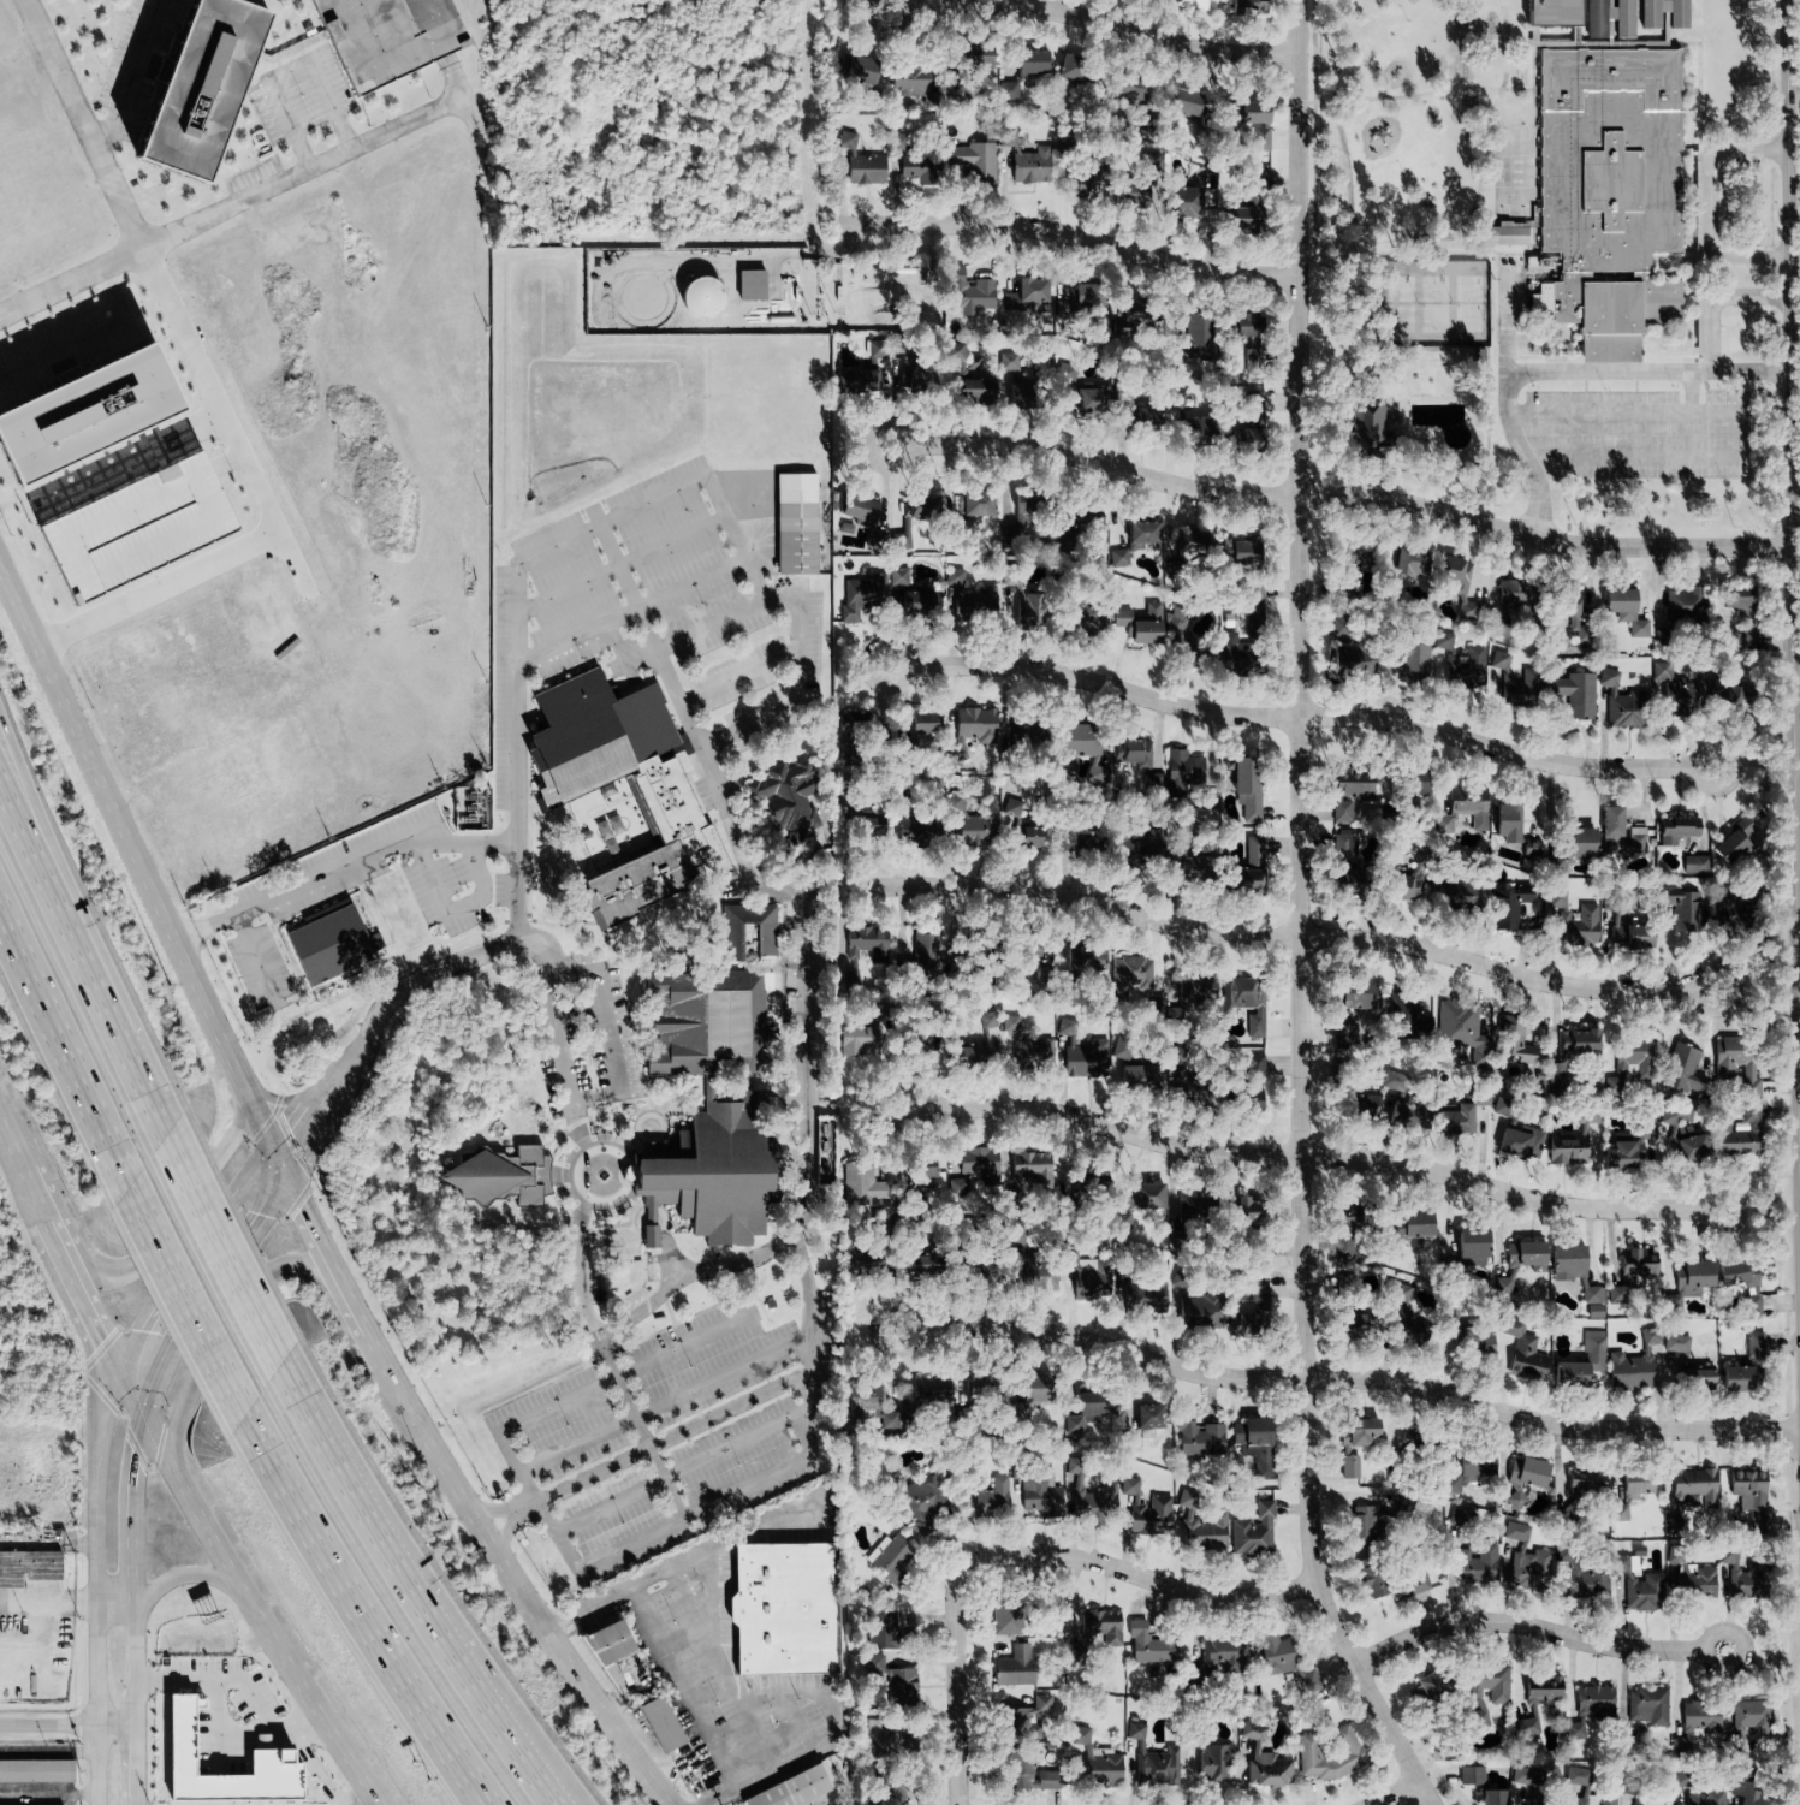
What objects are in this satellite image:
building: (1606, 2)
building: (1186, 5)
building: (1246, 7)
building: (1608, 18)
road: (1093, 20)
building: (1676, 20)
building: (390, 36)
parking garage: (390, 36)
building: (856, 70)
building: (1070, 70)
building: (1016, 71)
road: (290, 75)
road: (127, 78)
building: (909, 84)
building: (203, 85)
road: (1794, 88)
building: (1128, 89)
parking lot: (302, 91)
building: (1180, 102)
building: (1248, 113)
building: (970, 162)
road: (325, 164)
building: (860, 165)
building: (1149, 165)
building: (1029, 167)
building: (919, 168)
building: (1610, 188)
road: (117, 195)
building: (1182, 202)
road: (1713, 206)
building: (1244, 209)
road: (1795, 219)
road: (1070, 233)
building: (1507, 234)
road: (819, 253)
building: (749, 285)
building: (1023, 295)
building: (1077, 296)
building: (969, 297)
road: (1753, 298)
building: (696, 299)
park: (1397, 308)
park: (1431, 308)
park: (1465, 308)
building: (859, 309)
road: (1716, 310)
building: (1246, 327)
road: (87, 339)
building: (1198, 339)
road: (1795, 344)
park: (1407, 370)
building: (866, 372)
road: (1650, 372)
building: (963, 376)
building: (916, 381)
road: (1795, 381)
building: (1014, 382)
road: (1692, 392)
building: (1079, 397)
building: (1251, 403)
building: (73, 405)
road: (1507, 416)
building: (1136, 417)
building: (1367, 426)
road: (1743, 426)
building: (1210, 435)
road: (699, 480)
road: (1339, 494)
building: (957, 503)
building: (976, 503)
building: (921, 505)
building: (857, 510)
road: (280, 513)
building: (1075, 523)
building: (126, 526)
building: (797, 529)
building: (1139, 534)
building: (1212, 545)
road: (617, 560)
building: (1407, 562)
road: (622, 563)
road: (690, 581)
building: (1455, 586)
building: (1251, 590)
building: (861, 594)
building: (909, 594)
building: (1510, 594)
road: (1792, 595)
building: (1735, 598)
building: (988, 599)
building: (1623, 610)
building: (1568, 612)
building: (1122, 621)
building: (1252, 623)
building: (1746, 636)
road: (653, 641)
building: (1348, 651)
building: (1231, 655)
building: (1414, 659)
building: (1456, 664)
road: (739, 673)
building: (1516, 681)
road: (800, 685)
road: (1796, 687)
building: (1724, 690)
building: (1675, 691)
building: (1574, 694)
building: (1622, 701)
road: (1301, 716)
building: (921, 723)
building: (969, 729)
building: (1022, 734)
building: (849, 738)
building: (1076, 742)
building: (1129, 750)
road: (1796, 760)
building: (1182, 770)
building: (660, 785)
building: (1244, 791)
building: (1347, 794)
building: (783, 795)
building: (1467, 808)
building: (1504, 821)
building: (1443, 824)
building: (869, 826)
building: (976, 829)
building: (1675, 829)
building: (911, 831)
road: (412, 833)
building: (1618, 835)
building: (1027, 836)
building: (1734, 841)
road: (47, 843)
building: (1139, 843)
building: (1576, 843)
road: (385, 847)
building: (1251, 848)
building: (1529, 848)
building: (1341, 850)
road: (136, 861)
building: (1694, 863)
building: (1186, 866)
road: (47, 877)
building: (1243, 881)
building: (1454, 892)
building: (1509, 906)
road: (456, 907)
building: (1681, 912)
road: (1798, 913)
road: (1299, 918)
building: (1728, 919)
building: (1572, 920)
building: (1627, 933)
road: (1275, 934)
building: (331, 944)
building: (861, 952)
building: (925, 952)
road: (256, 958)
building: (1083, 958)
building: (1129, 975)
building: (1348, 994)
building: (1226, 996)
building: (1406, 1017)
building: (991, 1021)
road: (607, 1029)
building: (1339, 1029)
building: (1460, 1031)
building: (862, 1034)
building: (1515, 1043)
building: (1575, 1043)
building: (1022, 1045)
road: (64, 1056)
road: (130, 1058)
building: (1087, 1059)
building: (1736, 1064)
building: (1252, 1065)
building: (1683, 1071)
building: (1139, 1076)
building: (1555, 1076)
building: (721, 1081)
building: (1480, 1097)
road: (267, 1098)
building: (1251, 1099)
road: (304, 1100)
building: (1358, 1105)
building: (1498, 1105)
building: (1408, 1114)
building: (1586, 1116)
building: (1454, 1118)
road: (576, 1120)
road: (327, 1126)
building: (1645, 1126)
road: (1799, 1130)
building: (1739, 1134)
road: (7, 1139)
building: (1519, 1142)
building: (1687, 1145)
traffic signals: (272, 1148)
building: (1566, 1150)
building: (1621, 1153)
road: (1306, 1157)
building: (978, 1163)
building: (919, 1168)
building: (1030, 1168)
road: (626, 1171)
building: (500, 1172)
building: (857, 1181)
building: (1142, 1198)
building: (1184, 1209)
building: (1412, 1227)
road: (644, 1234)
building: (1343, 1237)
building: (1471, 1242)
road: (224, 1248)
road: (145, 1249)
building: (1525, 1255)
building: (1636, 1261)
road: (227, 1263)
road: (333, 1264)
road: (66, 1266)
building: (913, 1266)
building: (1736, 1272)
road: (690, 1273)
building: (1086, 1276)
building: (1575, 1276)
building: (1686, 1278)
building: (1352, 1279)
road: (807, 1281)
building: (1035, 1281)
building: (1402, 1292)
building: (1257, 1293)
building: (1615, 1294)
building: (1140, 1298)
road: (188, 1299)
road: (244, 1306)
building: (1751, 1306)
building: (1192, 1311)
building: (1238, 1325)
building: (1350, 1325)
building: (1753, 1344)
building: (1521, 1350)
building: (1581, 1365)
building: (1686, 1365)
building: (1632, 1366)
traffic signals: (121, 1376)
road: (1348, 1376)
building: (1734, 1379)
road: (156, 1381)
road: (590, 1388)
building: (928, 1391)
road: (132, 1395)
building: (862, 1395)
road: (665, 1401)
building: (1085, 1409)
traffic signals: (144, 1415)
building: (1149, 1418)
building: (889, 1419)
building: (1361, 1432)
building: (1253, 1445)
road: (100, 1451)
building: (1348, 1467)
road: (682, 1468)
building: (1467, 1468)
building: (1522, 1482)
building: (1129, 1488)
building: (1608, 1489)
building: (1089, 1492)
building: (1040, 1495)
building: (1689, 1495)
building: (990, 1496)
building: (1748, 1498)
building: (922, 1503)
road: (131, 1507)
road: (501, 1507)
road: (696, 1510)
building: (1149, 1516)
building: (1459, 1518)
building: (1200, 1524)
building: (1359, 1524)
road: (511, 1526)
building: (1252, 1532)
road: (333, 1560)
building: (1526, 1560)
building: (1478, 1564)
building: (29, 1567)
road: (1137, 1574)
building: (1742, 1575)
road: (195, 1580)
road: (427, 1581)
building: (1694, 1581)
building: (1368, 1583)
building: (1415, 1583)
building: (1587, 1584)
building: (1635, 1586)
road: (524, 1597)
road: (70, 1601)
building: (786, 1605)
road: (256, 1614)
building: (1003, 1620)
road: (1535, 1626)
building: (1099, 1627)
building: (885, 1633)
building: (1147, 1645)
building: (610, 1647)
road: (669, 1655)
building: (1276, 1655)
road: (137, 1662)
building: (1012, 1667)
building: (1151, 1673)
building: (1308, 1680)
building: (1487, 1684)
building: (899, 1687)
road: (955, 1687)
building: (1425, 1688)
road: (256, 1705)
building: (1647, 1708)
building: (1590, 1710)
building: (1532, 1711)
building: (1751, 1716)
road: (69, 1723)
road: (302, 1723)
building: (663, 1723)
building: (1015, 1724)
building: (1695, 1724)
building: (178, 1729)
building: (1135, 1735)
road: (457, 1754)
road: (465, 1754)
building: (1327, 1757)
building: (1260, 1759)
road: (137, 1761)
building: (1210, 1762)
building: (1157, 1767)
building: (1101, 1769)
building: (37, 1771)
building: (1017, 1774)
building: (1469, 1776)
building: (1527, 1776)
building: (1578, 1776)
building: (792, 1788)
building: (1745, 1788)
road: (1397, 1793)
building: (1491, 1798)
building: (1704, 1798)
building: (1599, 1799)
road: (137, 1800)
road: (369, 1800)
building: (1648, 1804)

